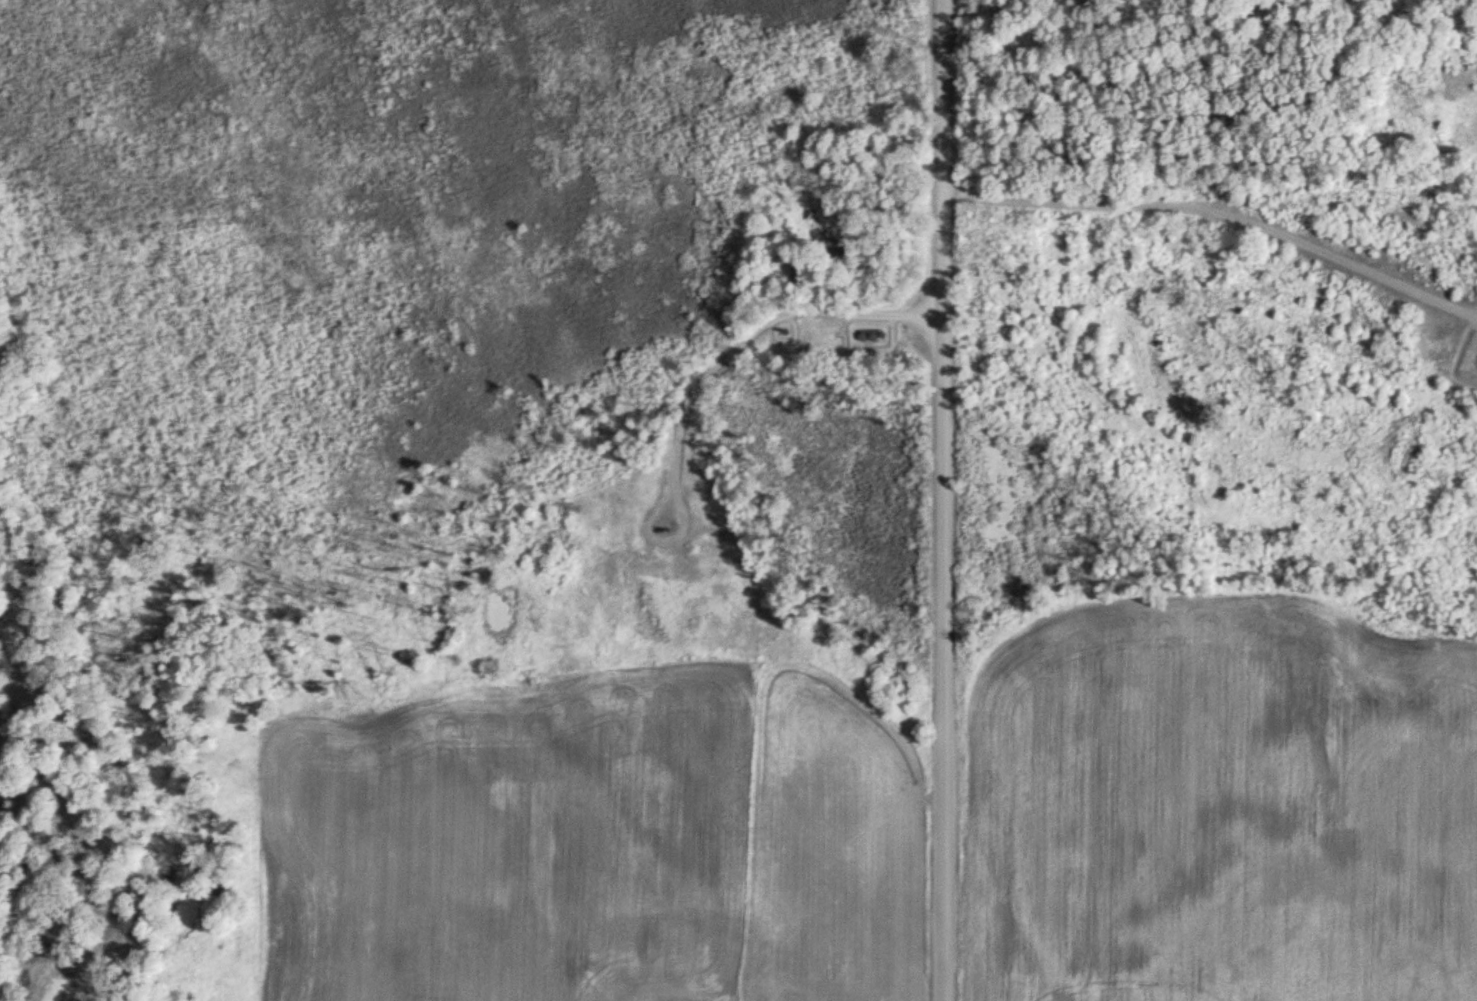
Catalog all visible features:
road: (1219, 218)
road: (767, 347)
road: (947, 500)
petroleum well: (676, 525)

